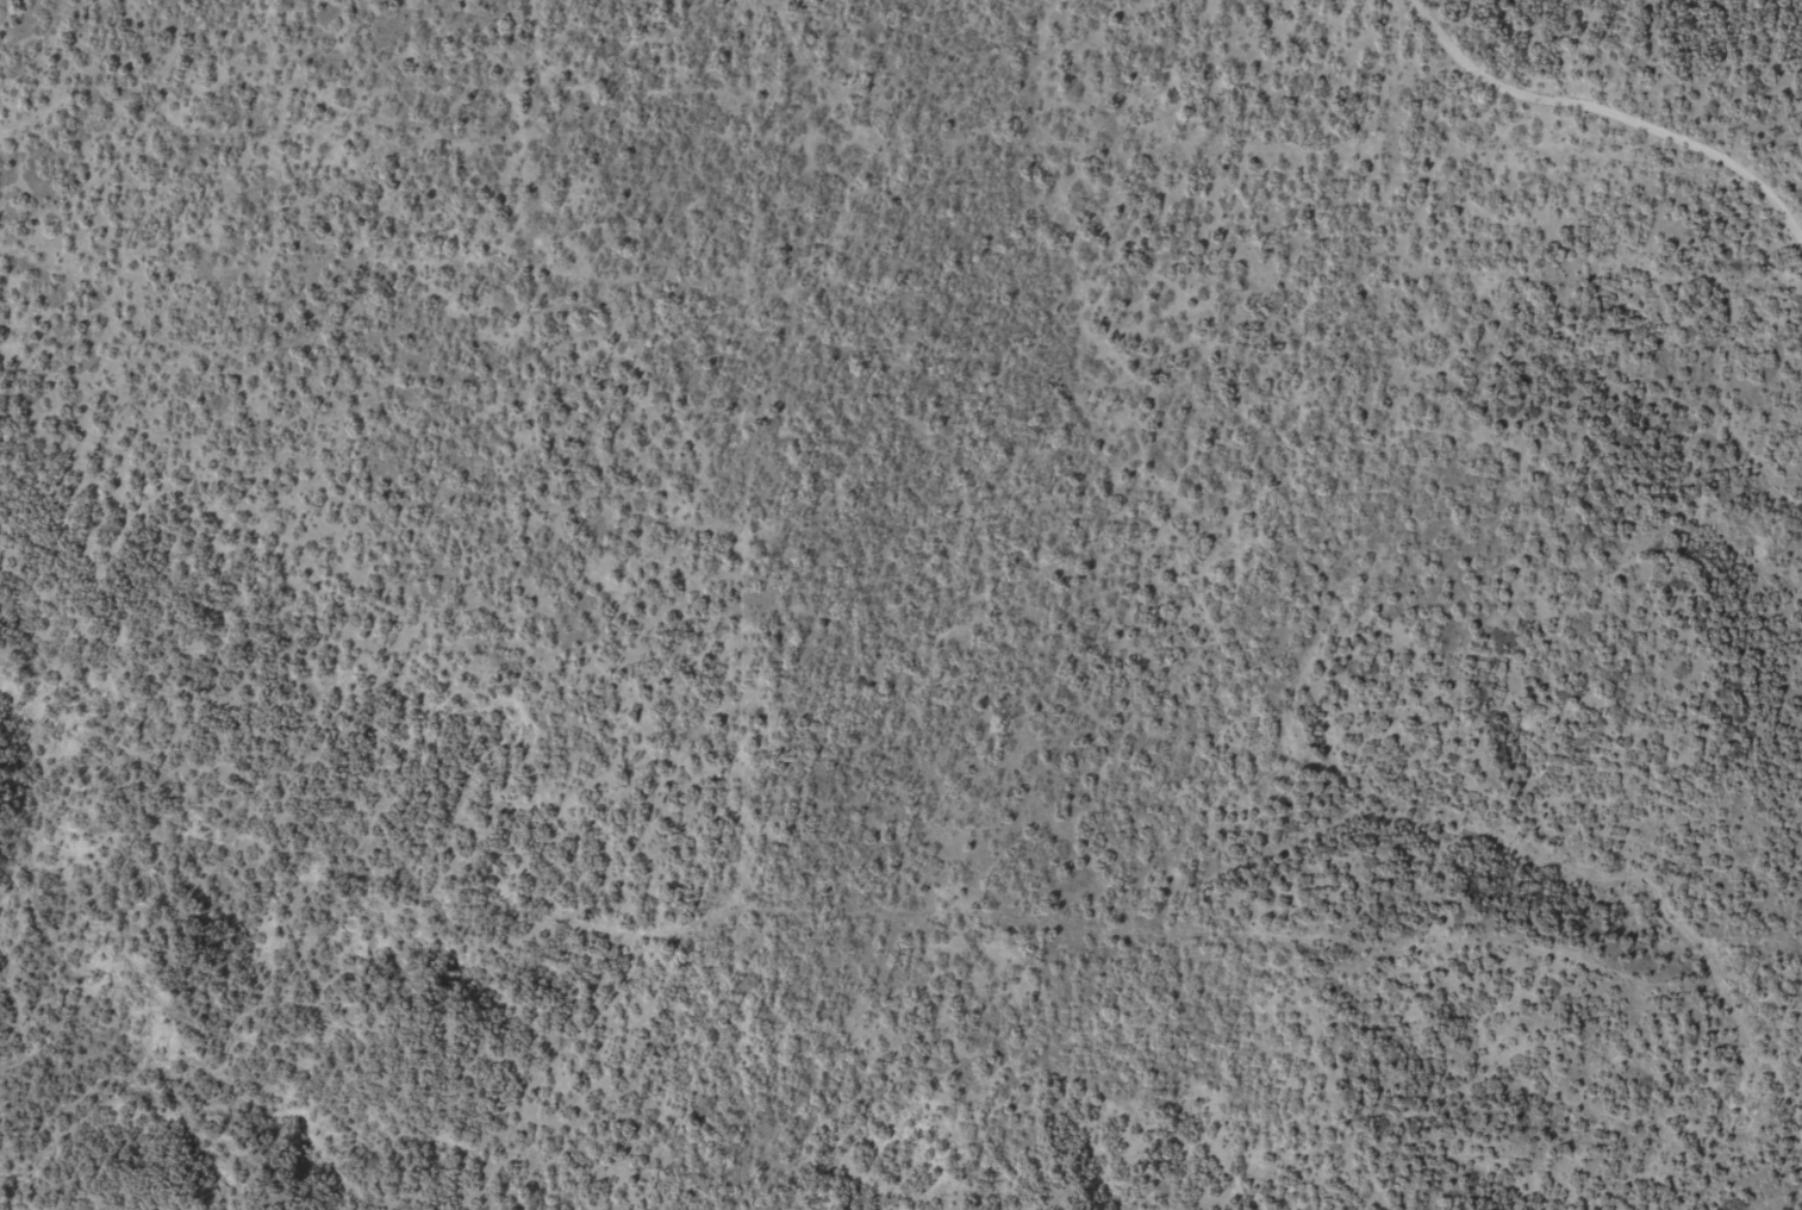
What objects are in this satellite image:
road: (1621, 126)

